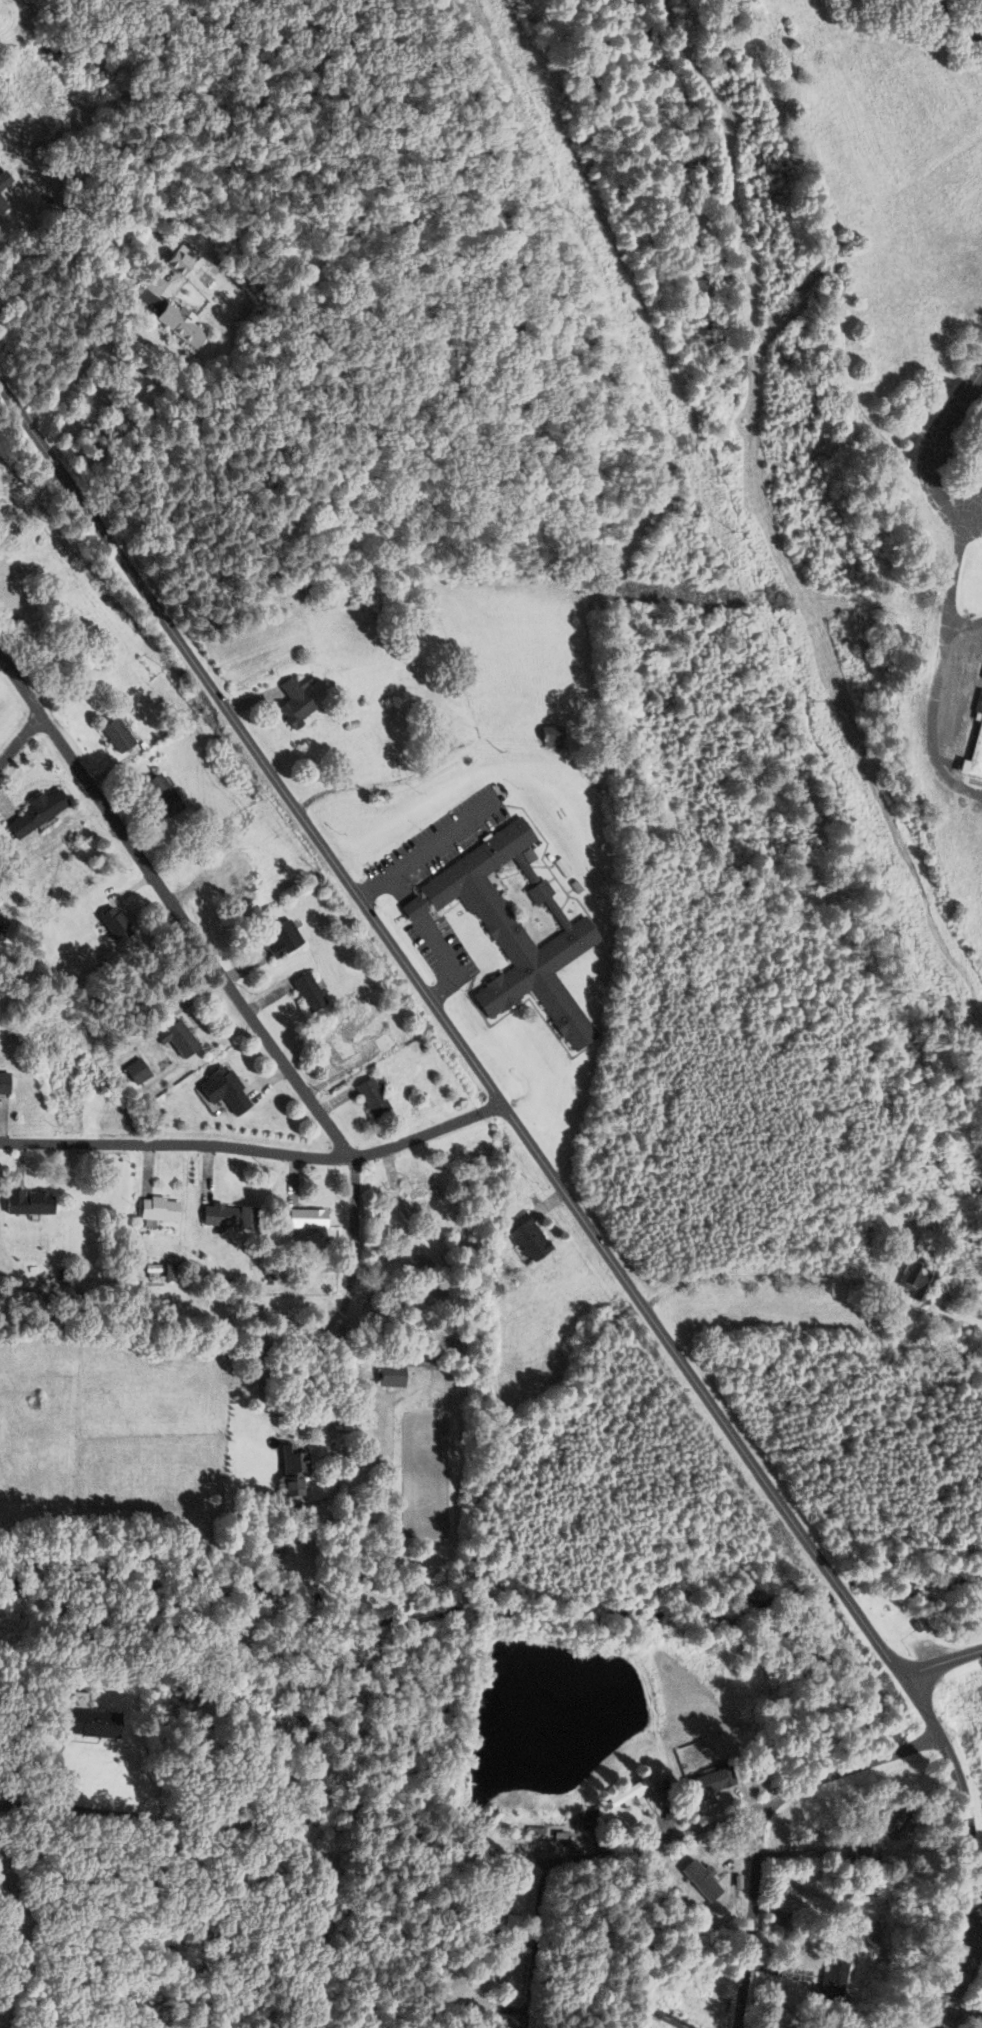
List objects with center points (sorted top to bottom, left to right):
building: (980, 1)
building: (2, 179)
building: (1, 206)
building: (171, 260)
building: (174, 324)
road: (968, 524)
road: (949, 584)
building: (5, 596)
building: (56, 618)
road: (961, 626)
building: (34, 645)
building: (292, 700)
building: (111, 735)
road: (18, 736)
building: (547, 737)
building: (980, 753)
building: (155, 795)
building: (32, 812)
road: (443, 838)
road: (320, 847)
road: (386, 875)
building: (231, 879)
road: (173, 906)
road: (414, 908)
building: (110, 923)
building: (514, 928)
building: (279, 939)
road: (450, 962)
building: (305, 992)
building: (174, 1038)
building: (381, 1042)
building: (334, 1046)
building: (132, 1072)
building: (1, 1083)
building: (220, 1090)
building: (369, 1097)
road: (254, 1148)
building: (408, 1193)
building: (24, 1202)
building: (154, 1209)
building: (223, 1216)
building: (302, 1219)
road: (349, 1234)
building: (524, 1238)
building: (911, 1282)
building: (387, 1375)
road: (282, 1413)
building: (286, 1470)
road: (878, 1645)
road: (940, 1661)
building: (74, 1695)
building: (86, 1722)
building: (706, 1783)
building: (626, 1793)
building: (890, 1821)
road: (174, 1822)
building: (518, 1829)
road: (687, 1837)
building: (861, 1855)
building: (699, 1872)
building: (866, 1900)
building: (475, 1915)
road: (753, 1917)
road: (341, 1937)
road: (34, 1953)
building: (832, 1979)
building: (674, 2021)
building: (782, 2027)

